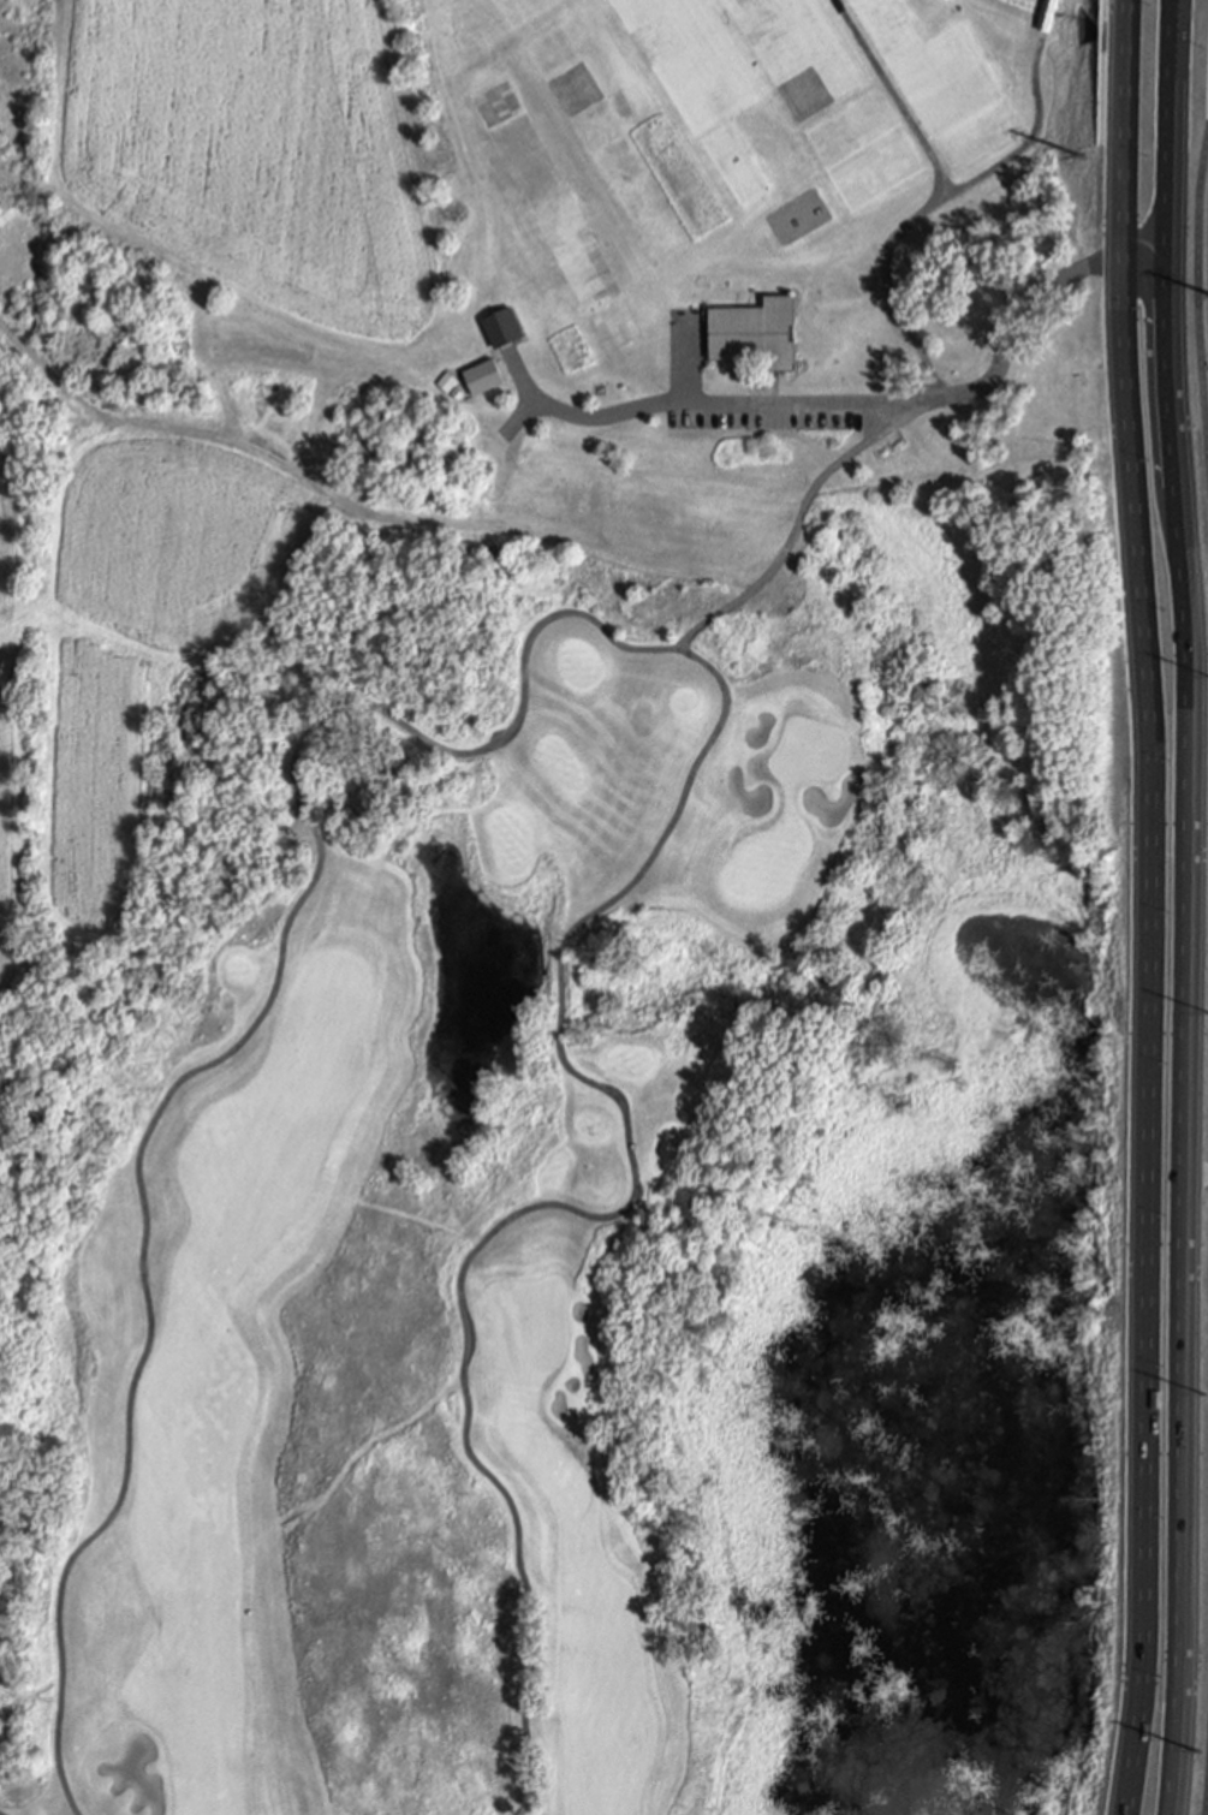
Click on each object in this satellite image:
road: (1045, 16)
road: (1124, 129)
power tower: (1085, 155)
road: (1034, 157)
road: (990, 166)
road: (932, 202)
road: (1108, 261)
road: (1168, 302)
road: (1197, 304)
building: (502, 329)
building: (754, 332)
road: (1008, 352)
building: (445, 382)
road: (706, 404)
road: (498, 525)
road: (565, 611)
road: (718, 613)
park: (553, 910)
road: (1145, 1036)
road: (1196, 1177)
road: (1183, 1209)
power tower: (1206, 1393)
power tower: (1198, 1752)
road: (1204, 1781)

